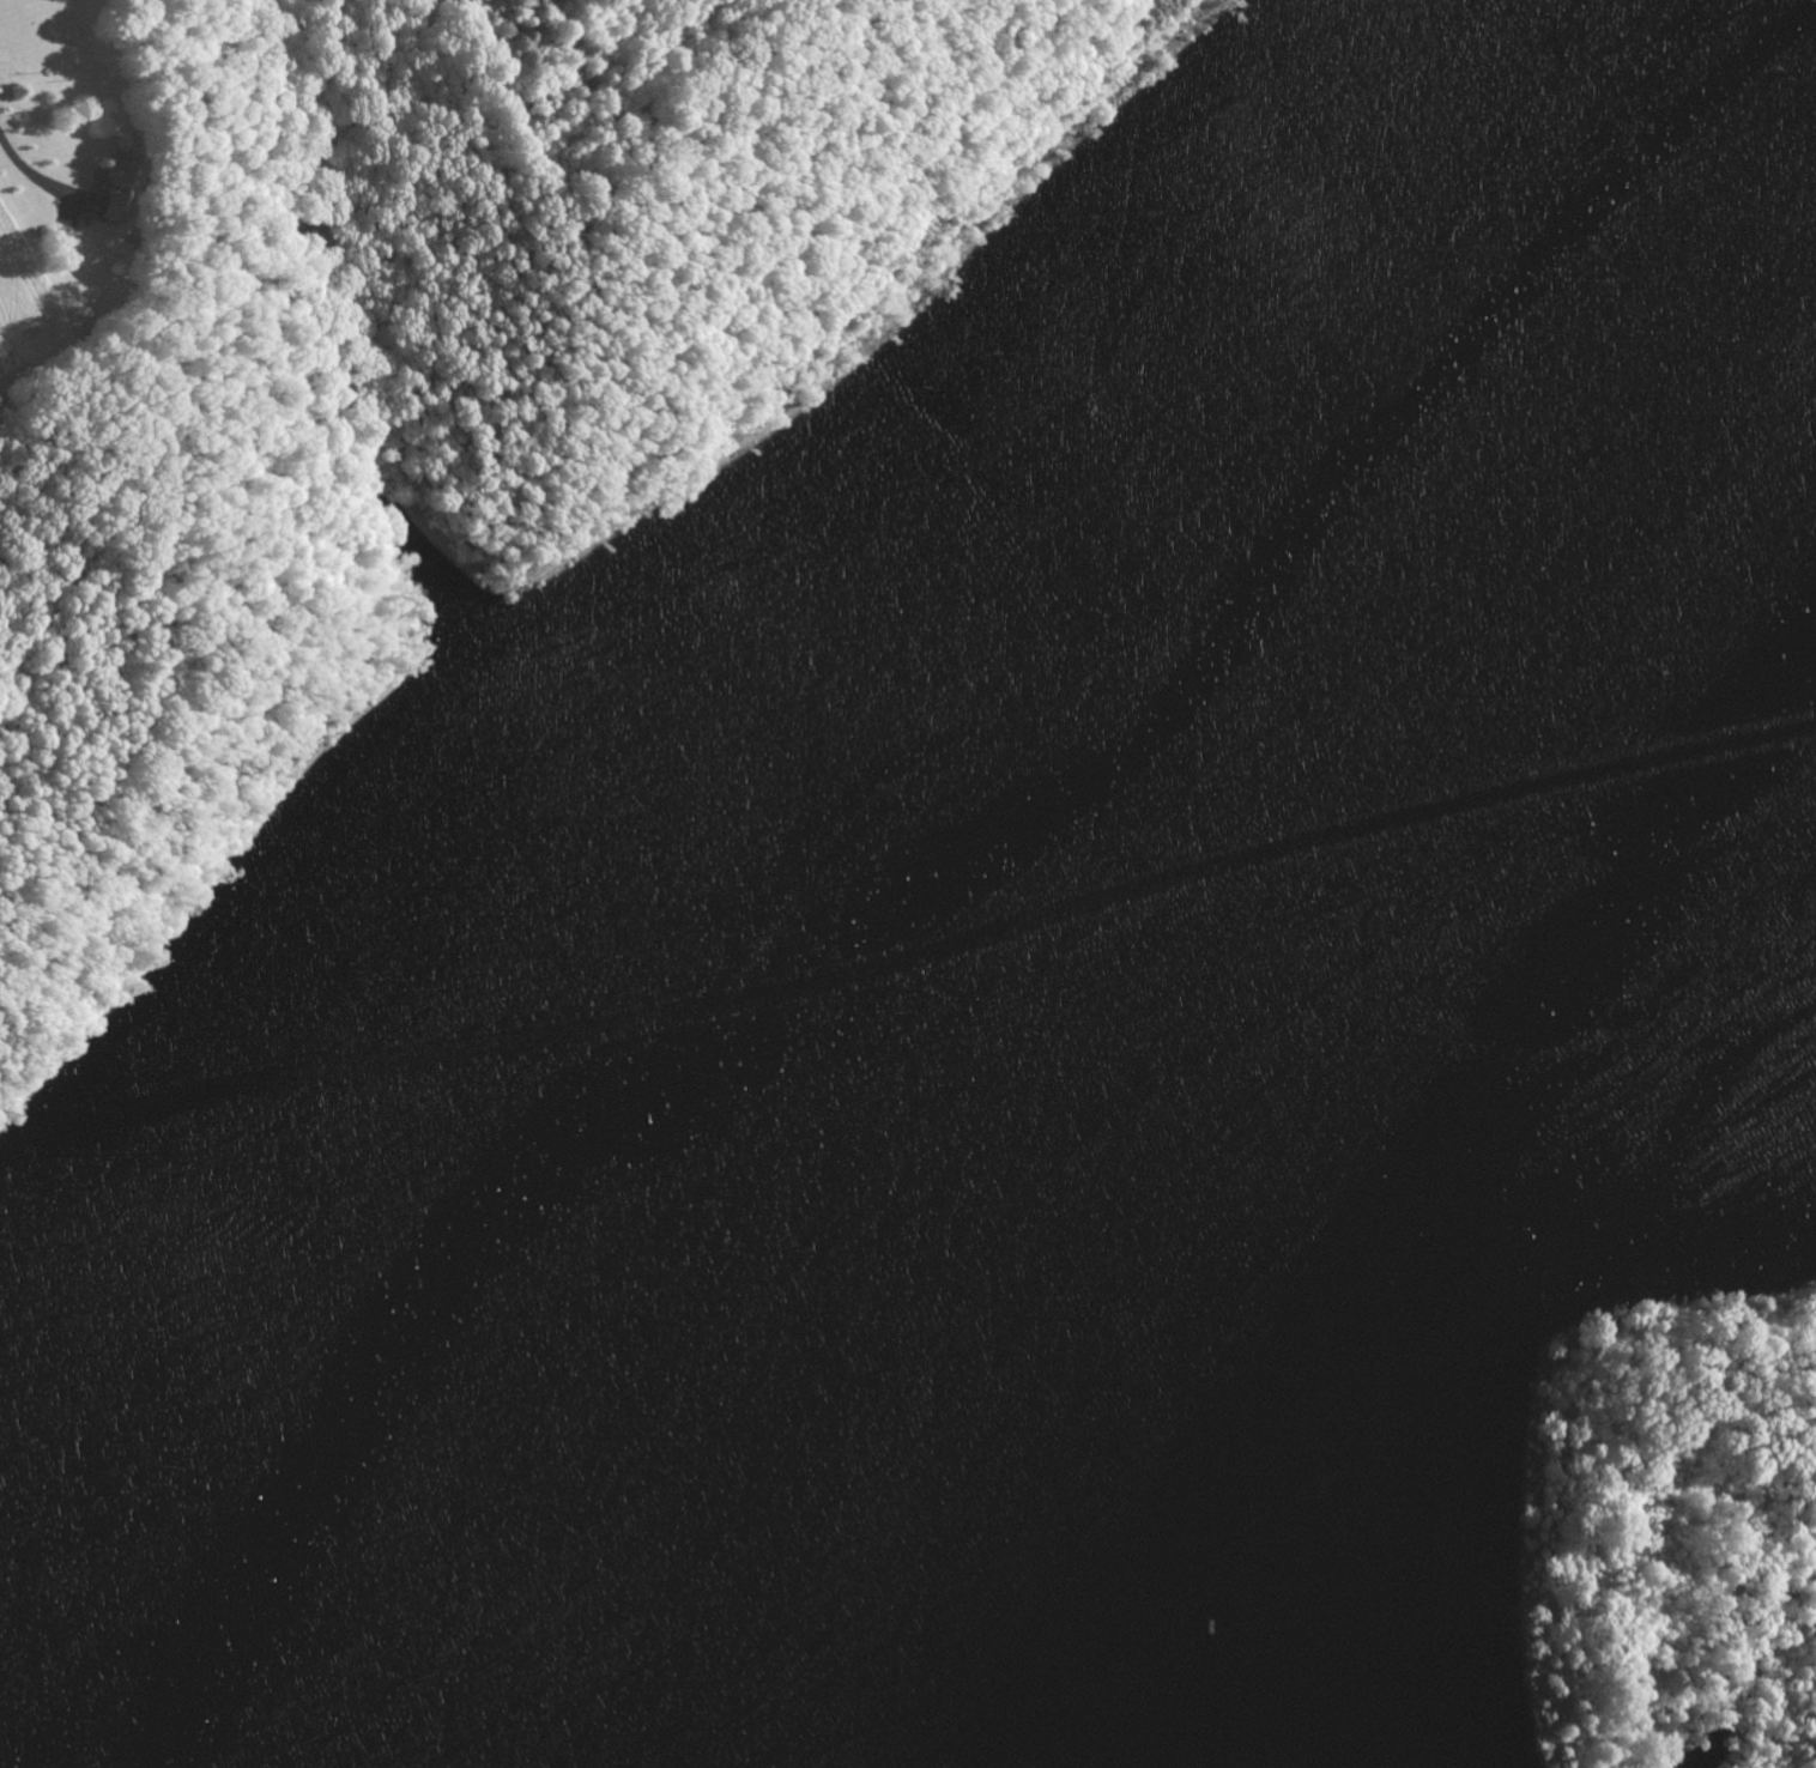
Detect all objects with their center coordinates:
building: (115, 184)

